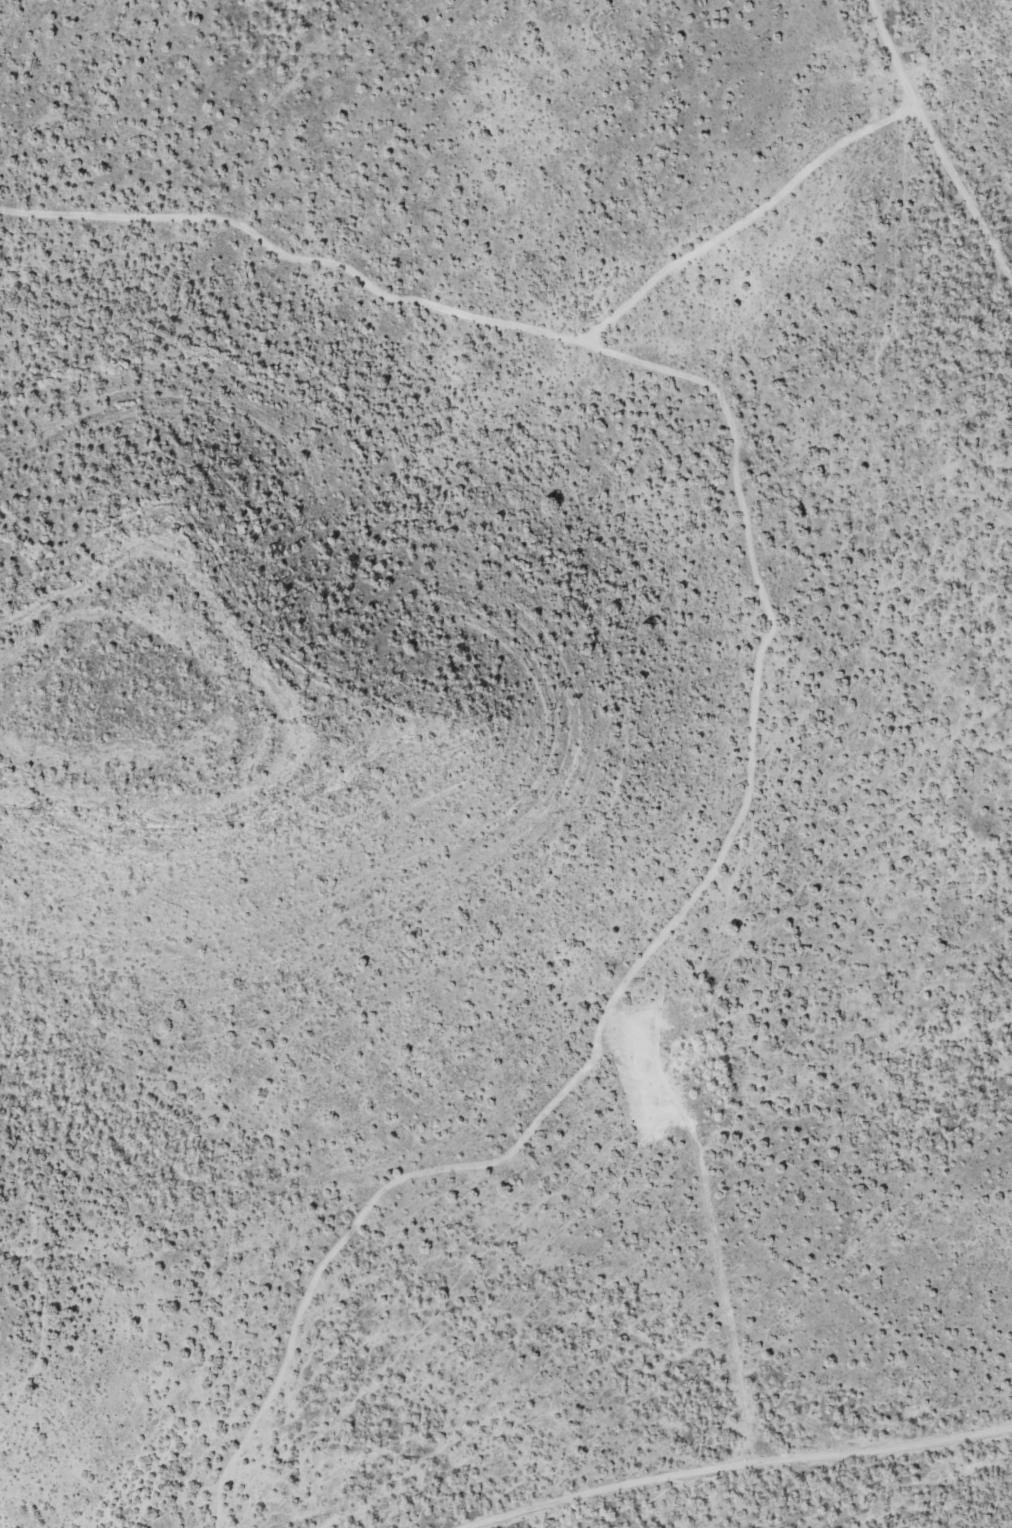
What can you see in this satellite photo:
road: (935, 146)
road: (744, 223)
road: (758, 687)
road: (706, 1205)
road: (744, 1465)

